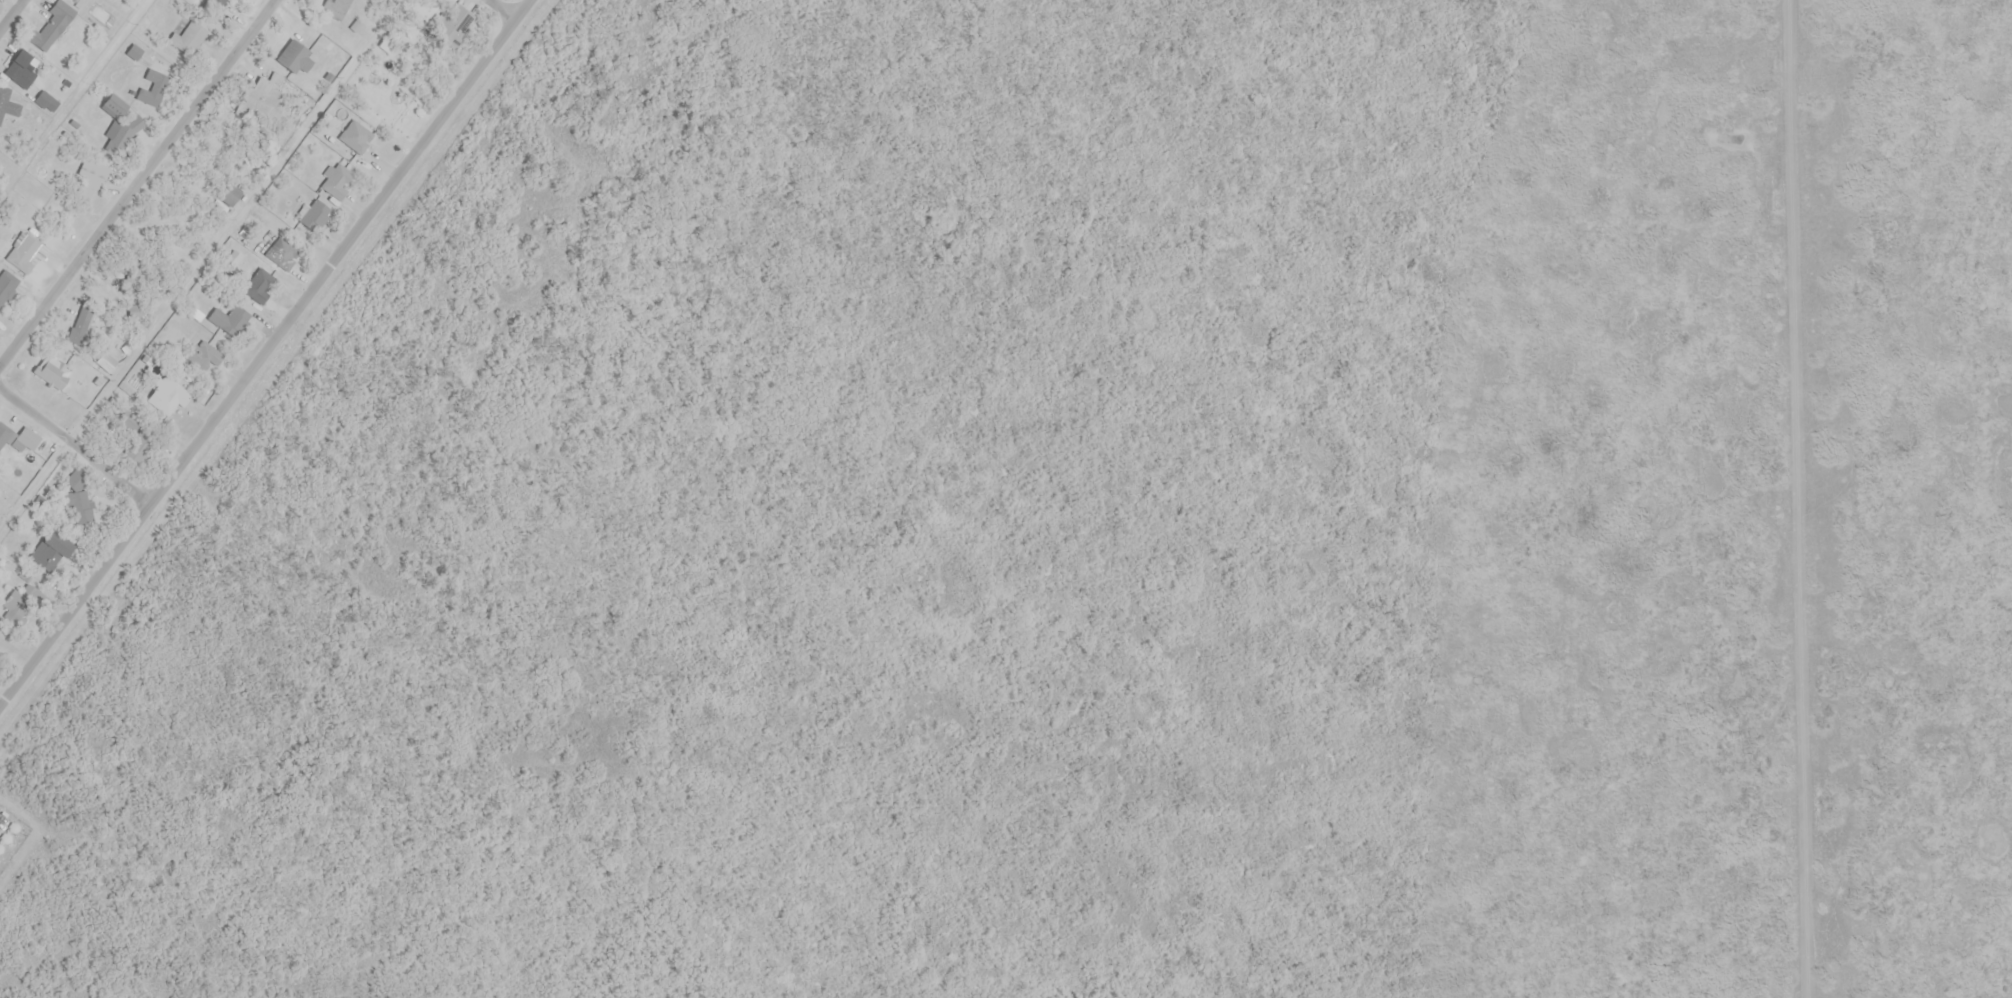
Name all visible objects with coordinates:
building: (221, 1)
building: (334, 8)
road: (505, 8)
road: (10, 13)
building: (51, 24)
building: (460, 25)
building: (189, 35)
building: (295, 57)
building: (22, 67)
building: (152, 86)
building: (263, 97)
building: (8, 104)
building: (119, 123)
building: (355, 135)
building: (89, 179)
building: (336, 181)
road: (137, 183)
building: (229, 191)
building: (314, 214)
building: (24, 251)
building: (282, 252)
road: (189, 284)
building: (7, 285)
building: (260, 285)
building: (139, 310)
building: (235, 321)
building: (80, 325)
road: (264, 352)
building: (203, 355)
building: (106, 362)
building: (167, 395)
building: (4, 434)
building: (28, 438)
road: (75, 445)
building: (79, 501)
building: (51, 548)

